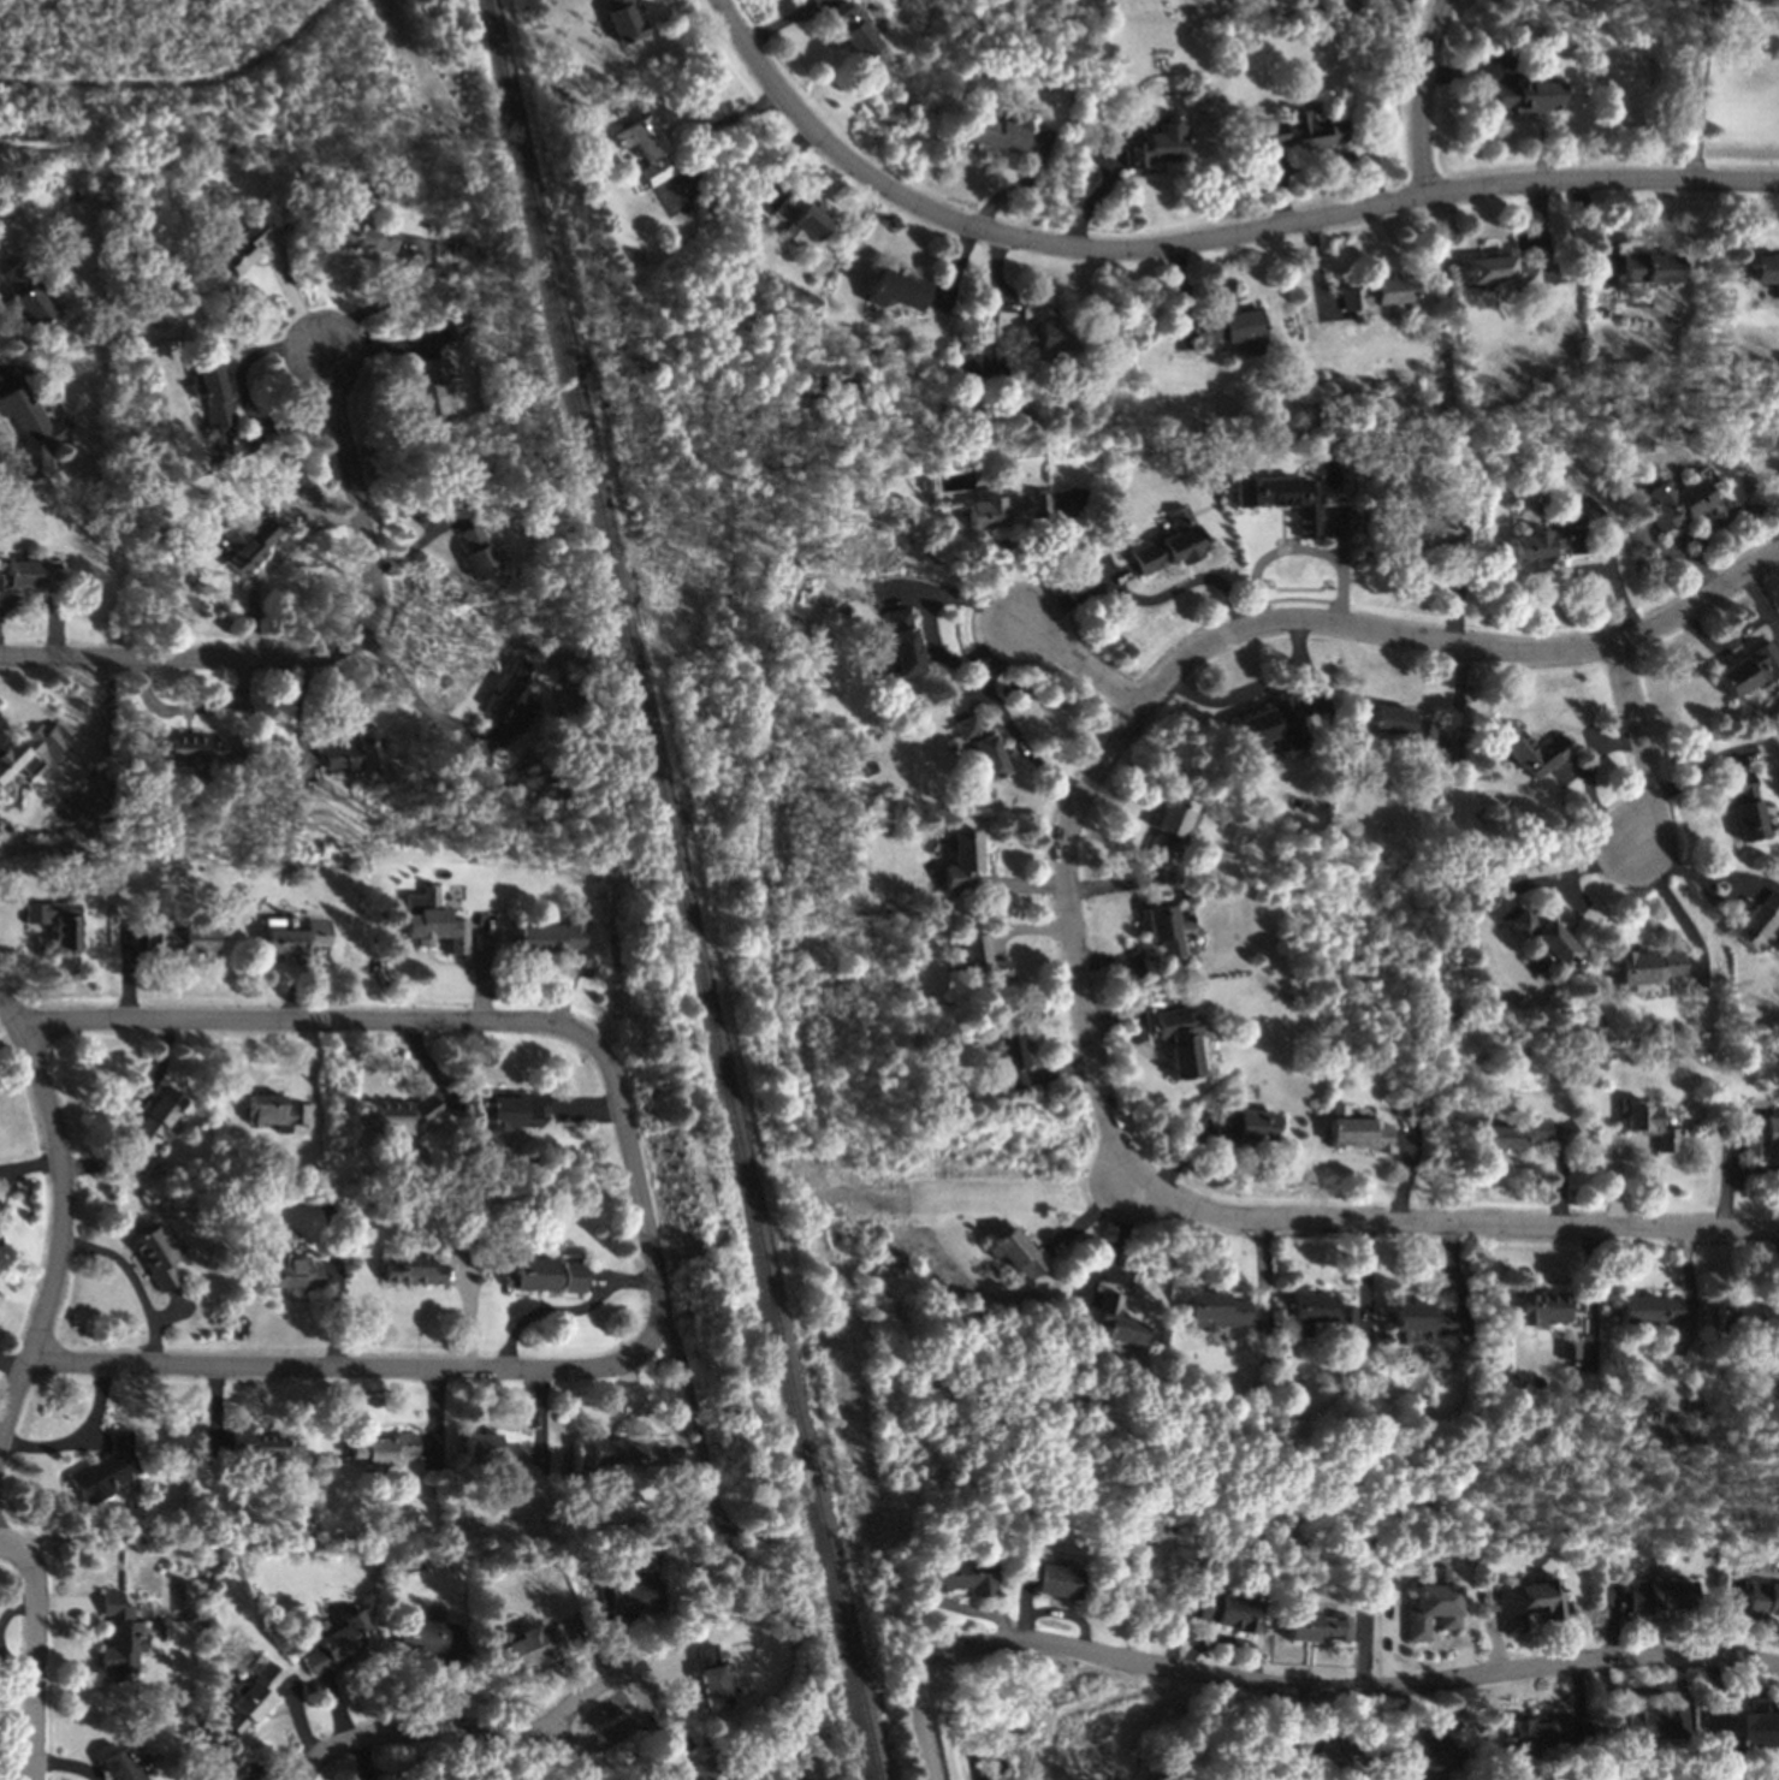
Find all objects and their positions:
building: (622, 19)
building: (853, 29)
road: (174, 82)
road: (1417, 95)
building: (1529, 95)
road: (1698, 95)
road: (719, 127)
building: (989, 129)
building: (1301, 130)
road: (818, 140)
building: (1156, 142)
building: (644, 148)
road: (1369, 204)
building: (799, 218)
building: (366, 236)
building: (242, 244)
building: (1649, 267)
building: (1765, 271)
building: (1501, 274)
road: (415, 287)
building: (896, 289)
building: (1374, 292)
building: (26, 296)
building: (1234, 330)
building: (1044, 337)
building: (433, 387)
building: (210, 391)
building: (30, 432)
building: (1280, 498)
building: (1679, 499)
building: (1008, 508)
building: (1435, 529)
building: (1544, 542)
building: (1169, 544)
road: (1297, 547)
building: (250, 548)
building: (484, 556)
road: (273, 563)
building: (31, 575)
road: (1145, 603)
road: (929, 612)
road: (1451, 641)
building: (900, 642)
road: (328, 654)
building: (1749, 669)
road: (1086, 671)
road: (1253, 688)
road: (409, 690)
road: (13, 695)
building: (506, 707)
road: (1002, 718)
building: (1396, 724)
building: (1270, 726)
building: (979, 746)
building: (198, 747)
road: (1642, 748)
building: (32, 749)
building: (1530, 750)
building: (356, 758)
building: (1744, 806)
building: (1168, 825)
building: (957, 861)
road: (1696, 868)
railway: (683, 890)
road: (1673, 907)
building: (1757, 919)
building: (432, 920)
building: (57, 921)
building: (1166, 931)
building: (551, 936)
building: (1543, 936)
road: (1068, 939)
building: (182, 941)
building: (980, 960)
building: (1645, 967)
building: (1178, 1040)
building: (1008, 1058)
building: (514, 1109)
building: (275, 1111)
building: (398, 1112)
road: (131, 1114)
building: (154, 1122)
building: (1648, 1123)
building: (1246, 1126)
building: (1356, 1129)
building: (1512, 1134)
building: (1760, 1134)
road: (1730, 1181)
road: (64, 1215)
road: (641, 1215)
road: (1453, 1222)
road: (1115, 1246)
building: (1012, 1253)
building: (155, 1256)
building: (410, 1269)
building: (287, 1271)
building: (544, 1275)
road: (131, 1281)
road: (1689, 1293)
building: (1542, 1306)
building: (1649, 1309)
building: (1211, 1310)
building: (1317, 1313)
building: (1745, 1315)
building: (1113, 1319)
building: (1416, 1319)
building: (1566, 1347)
road: (81, 1436)
building: (255, 1444)
building: (381, 1447)
building: (490, 1449)
building: (623, 1452)
building: (105, 1468)
building: (957, 1574)
building: (1046, 1578)
building: (1659, 1596)
building: (630, 1597)
building: (1761, 1600)
building: (1530, 1601)
road: (66, 1603)
building: (1431, 1606)
road: (13, 1607)
road: (967, 1608)
road: (1021, 1612)
building: (1227, 1612)
road: (1062, 1614)
building: (190, 1616)
road: (1612, 1621)
road: (1732, 1621)
building: (1315, 1624)
road: (1172, 1626)
road: (1489, 1636)
building: (120, 1638)
building: (434, 1638)
road: (1227, 1639)
building: (331, 1644)
road: (622, 1645)
building: (530, 1648)
road: (1389, 1648)
road: (1362, 1649)
road: (34, 1651)
road: (583, 1654)
road: (12, 1663)
road: (663, 1668)
building: (712, 1679)
road: (1292, 1687)
road: (642, 1691)
road: (1731, 1691)
road: (1678, 1692)
building: (255, 1695)
road: (1575, 1695)
road: (1625, 1695)
road: (451, 1698)
road: (336, 1707)
road: (1778, 1716)
road: (1409, 1717)
road: (298, 1720)
building: (1641, 1721)
road: (1371, 1727)
building: (1738, 1727)
building: (1530, 1729)
road: (401, 1731)
road: (1437, 1731)
road: (662, 1740)
building: (1321, 1751)
road: (362, 1757)
road: (530, 1757)
road: (576, 1762)
road: (67, 1763)
building: (1423, 1763)
building: (126, 1764)
road: (16, 1766)
building: (702, 1769)
building: (209, 1779)
building: (232, 1779)

